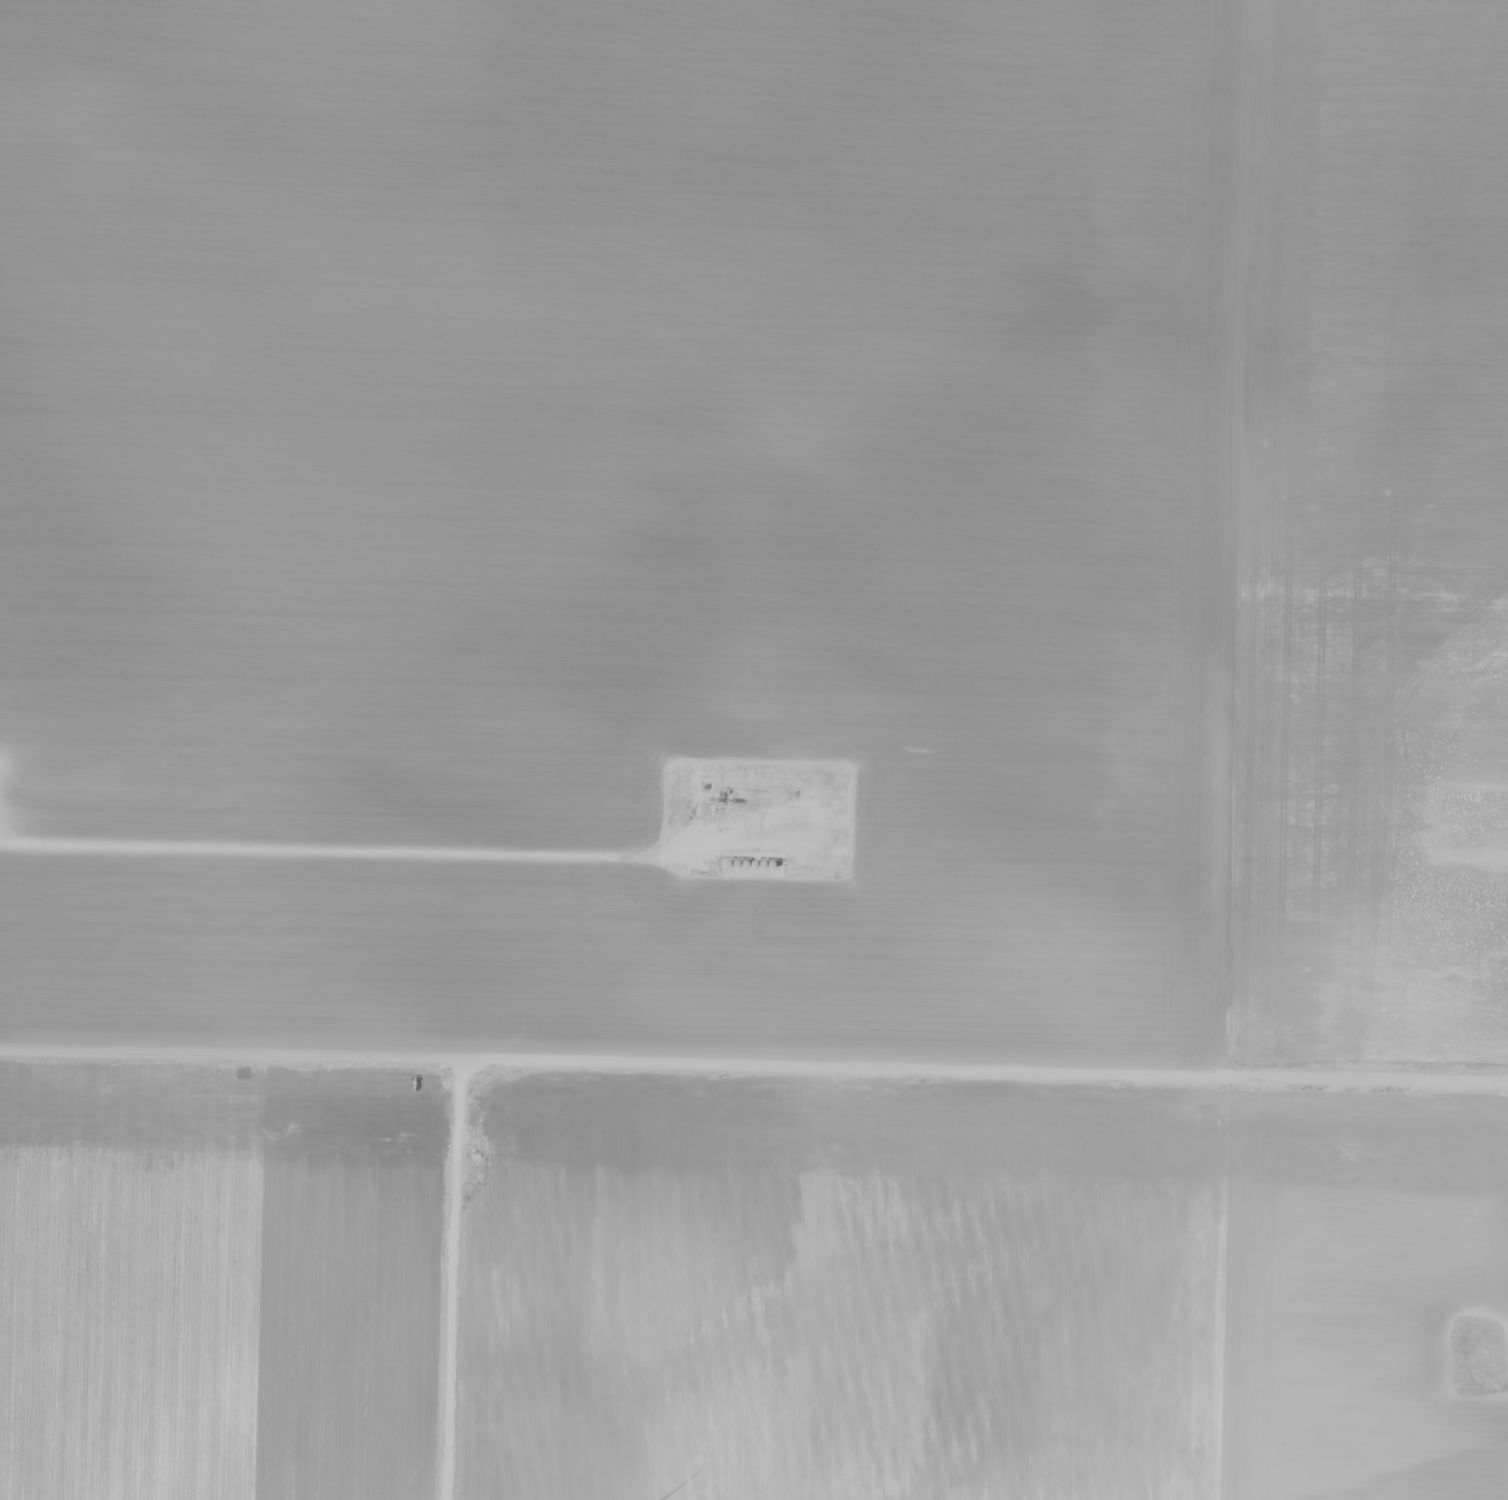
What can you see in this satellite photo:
road: (755, 826)
road: (338, 849)
road: (753, 1067)
road: (453, 1280)

